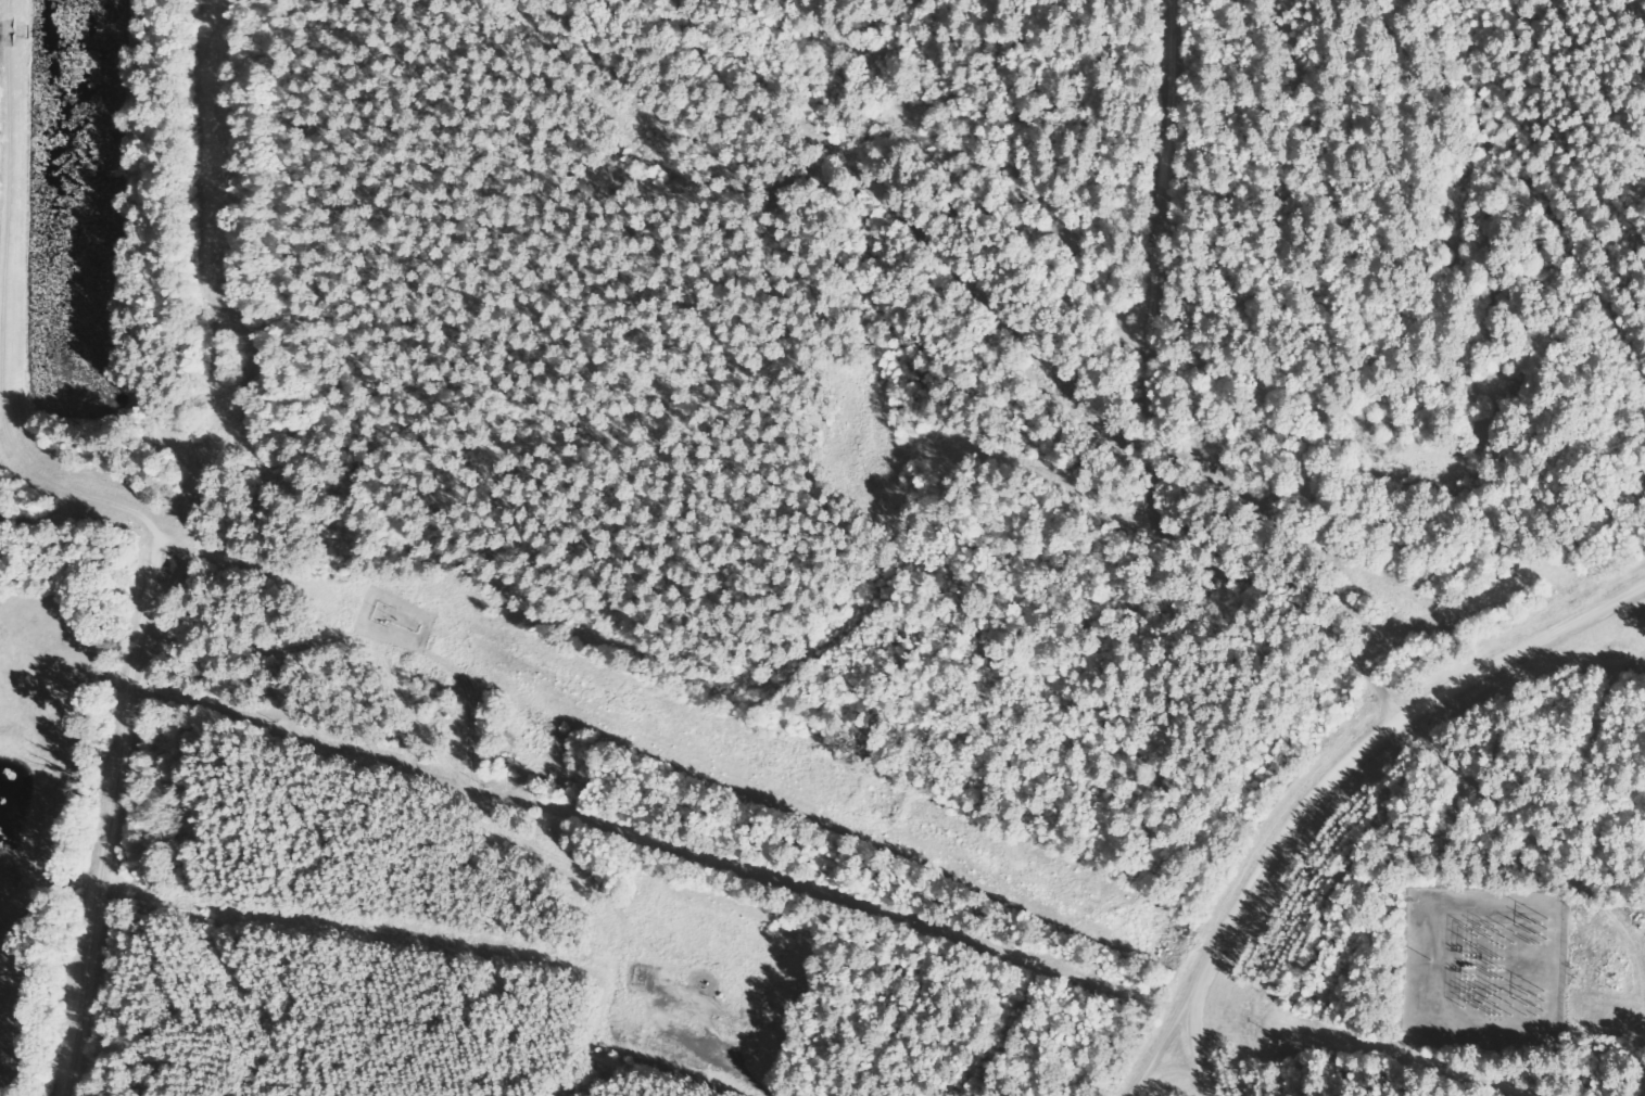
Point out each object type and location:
road: (1334, 774)
power tower: (1538, 929)
power substation: (1483, 968)

